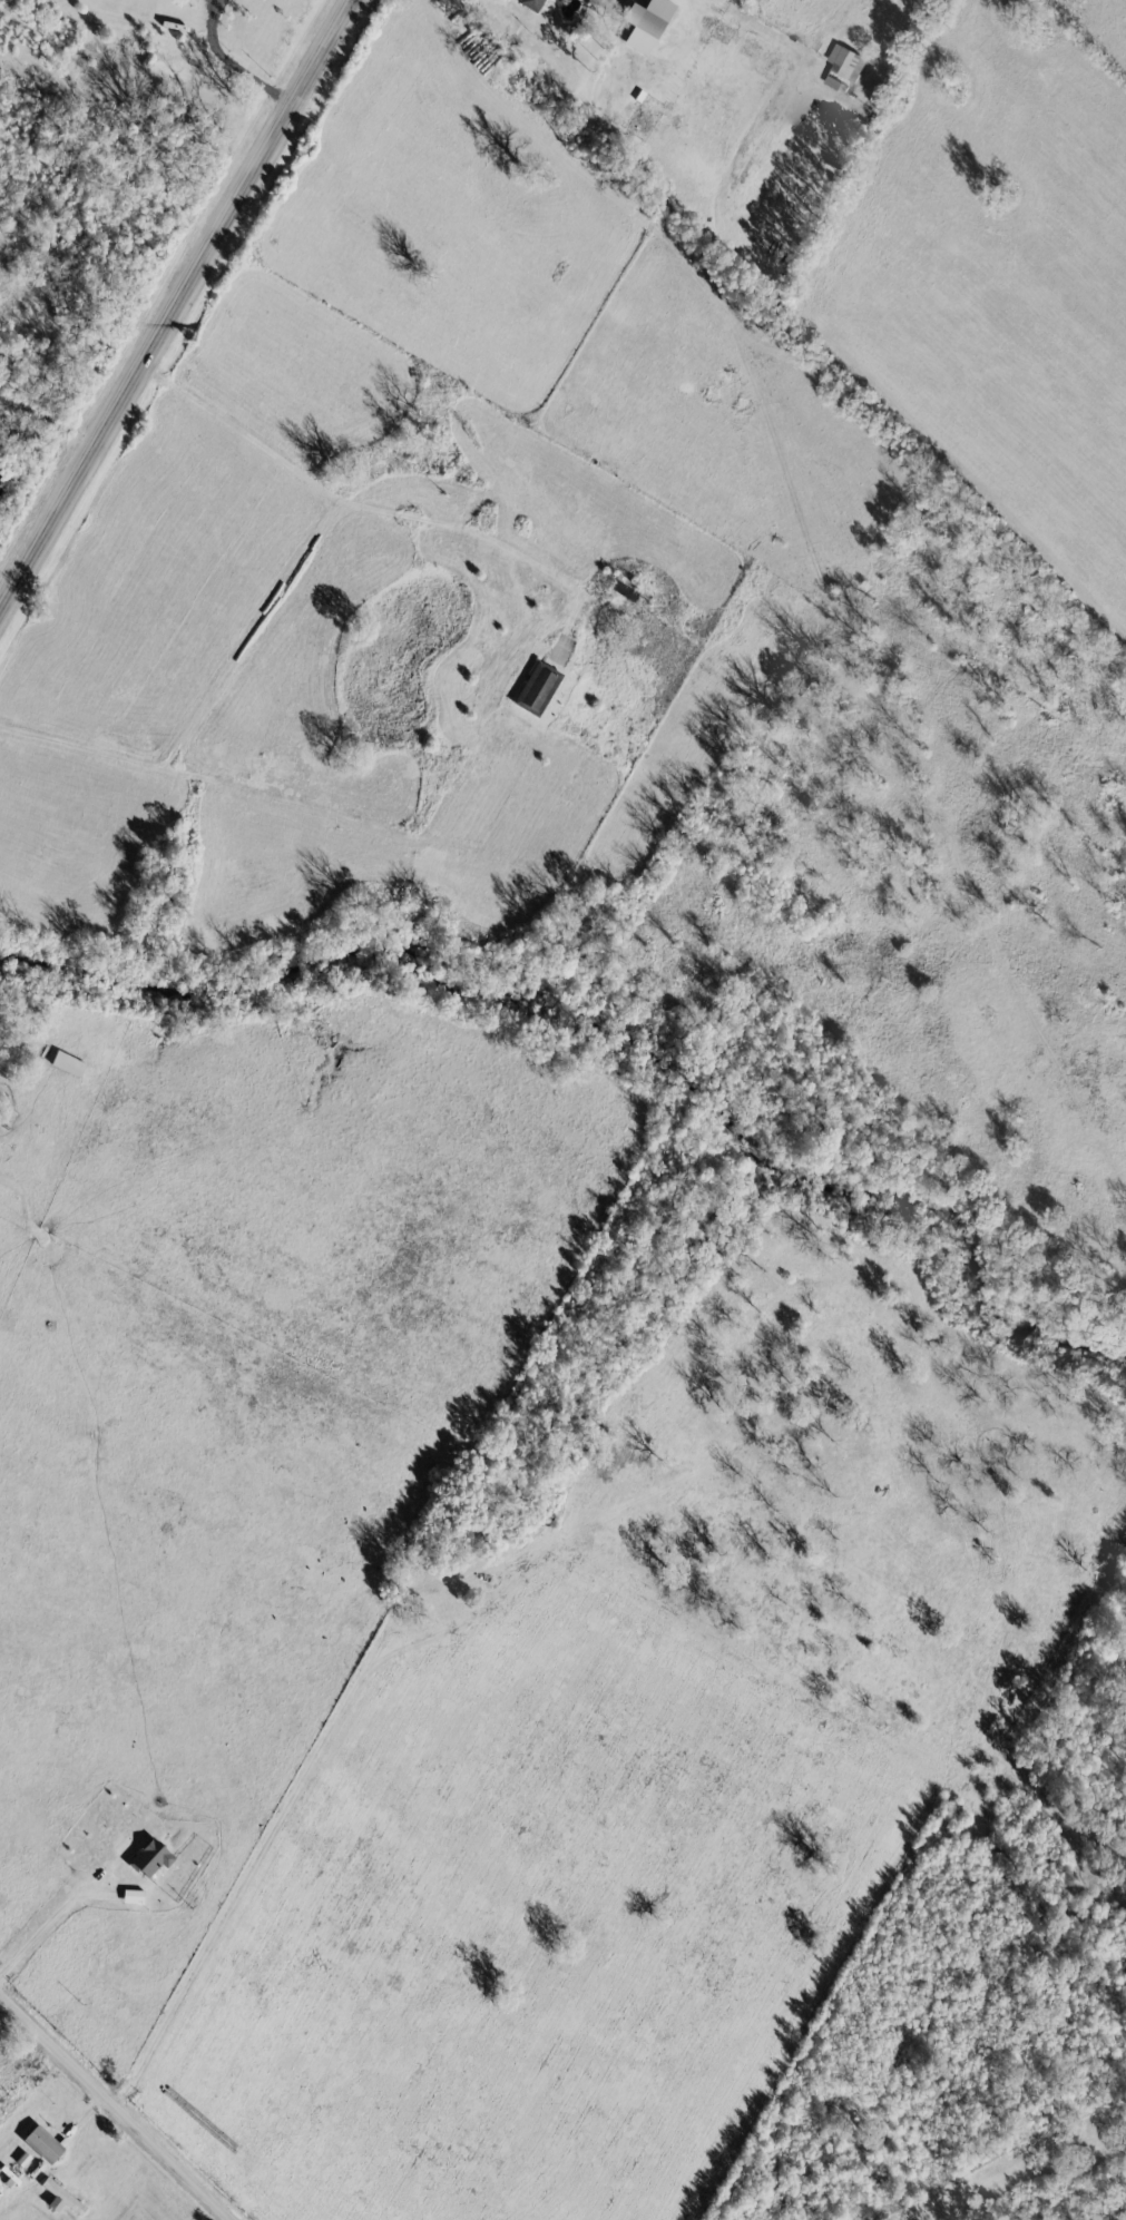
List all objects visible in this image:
building: (555, 0)
building: (527, 3)
building: (640, 22)
road: (252, 35)
building: (840, 59)
building: (829, 81)
road: (88, 248)
road: (174, 301)
road: (824, 333)
road: (333, 504)
building: (531, 688)
building: (146, 1857)
road: (245, 1892)
building: (128, 1895)
road: (43, 1916)
road: (27, 2066)
road: (117, 2104)
building: (37, 2143)
building: (60, 2197)

